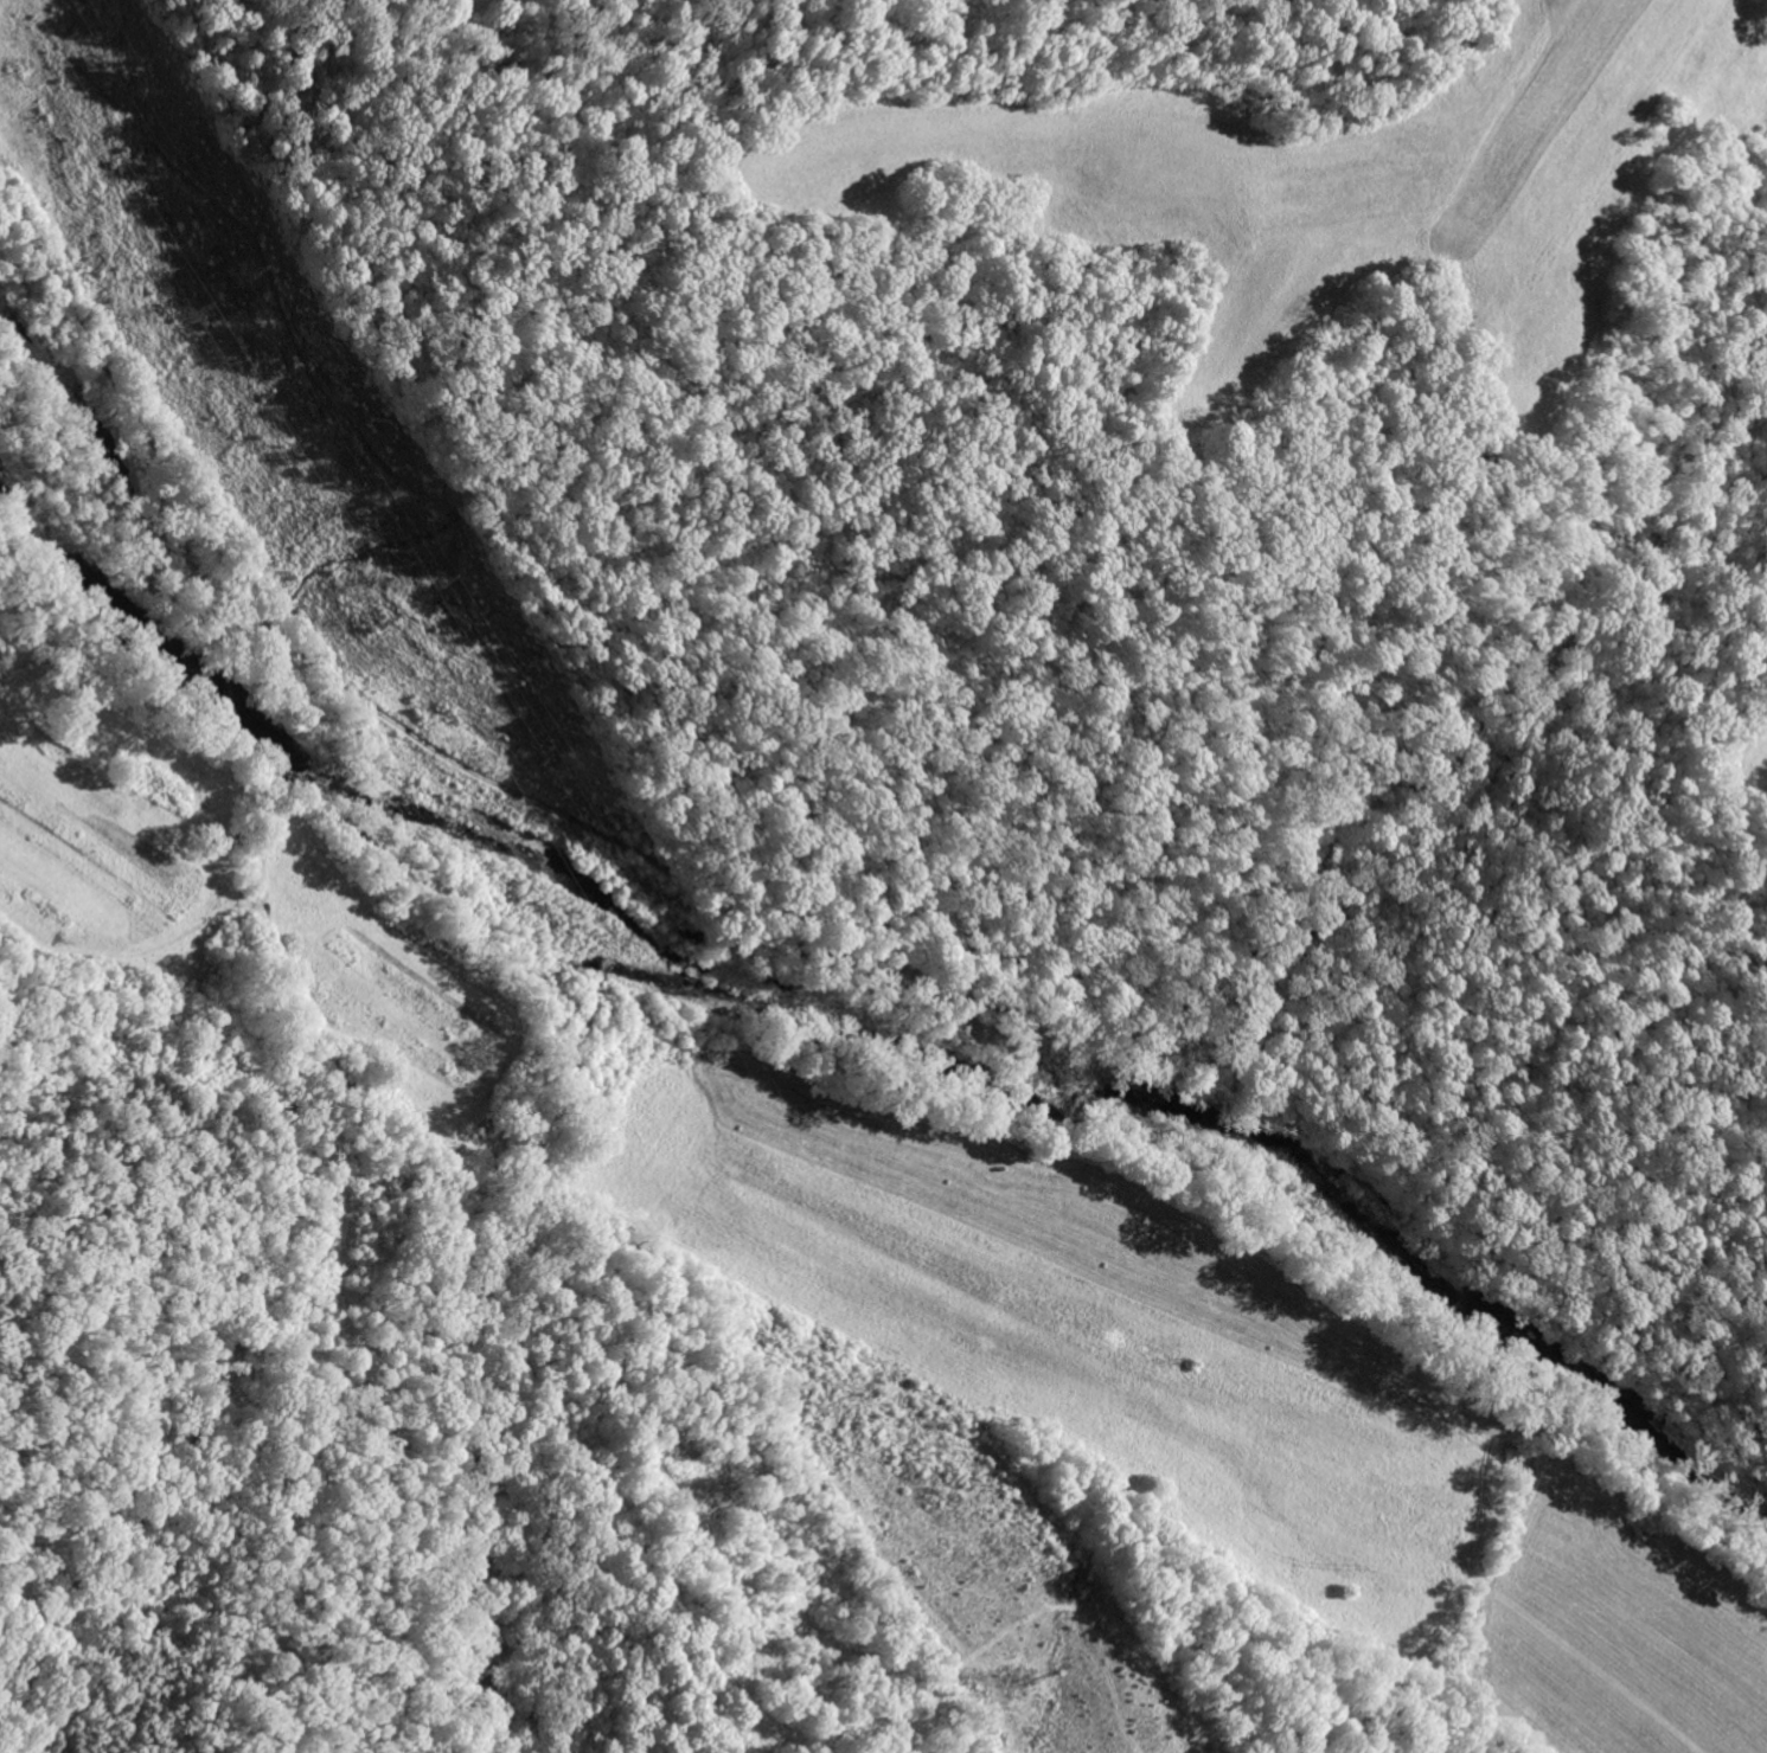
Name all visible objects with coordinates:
road: (811, 919)

